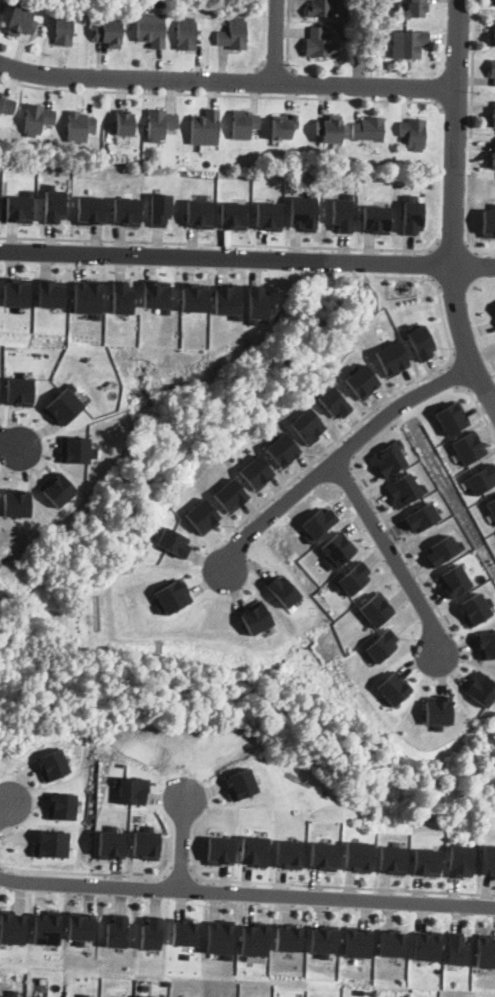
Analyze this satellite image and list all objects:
building: (493, 2)
building: (383, 5)
building: (317, 8)
building: (416, 9)
building: (77, 11)
building: (384, 14)
building: (21, 22)
building: (151, 29)
building: (63, 30)
building: (109, 34)
building: (186, 35)
building: (233, 35)
road: (288, 38)
building: (493, 41)
road: (275, 42)
building: (317, 44)
building: (408, 44)
building: (492, 71)
road: (226, 82)
road: (295, 85)
road: (222, 95)
building: (6, 106)
road: (458, 110)
building: (35, 119)
building: (491, 119)
building: (120, 123)
building: (157, 124)
building: (78, 125)
building: (241, 125)
building: (282, 127)
building: (203, 129)
building: (367, 129)
building: (327, 130)
building: (411, 133)
road: (472, 135)
building: (491, 159)
building: (54, 204)
road: (454, 207)
building: (19, 208)
building: (159, 209)
building: (90, 210)
building: (126, 211)
building: (303, 212)
building: (199, 213)
building: (342, 214)
building: (233, 215)
building: (268, 215)
building: (411, 215)
building: (375, 218)
building: (488, 221)
road: (221, 242)
road: (453, 244)
road: (247, 259)
road: (431, 263)
building: (16, 292)
building: (51, 292)
building: (156, 295)
building: (121, 296)
building: (193, 296)
building: (87, 297)
building: (227, 299)
building: (256, 303)
building: (494, 306)
building: (419, 340)
building: (391, 358)
road: (454, 376)
building: (360, 380)
building: (0, 385)
building: (20, 391)
road: (396, 394)
building: (333, 402)
building: (63, 404)
road: (478, 406)
building: (450, 417)
building: (307, 425)
road: (9, 440)
building: (468, 446)
building: (282, 448)
road: (345, 448)
building: (75, 449)
road: (339, 456)
building: (388, 458)
building: (255, 471)
building: (481, 478)
building: (57, 489)
building: (404, 489)
building: (230, 495)
building: (16, 502)
building: (491, 507)
building: (202, 515)
building: (421, 517)
building: (318, 523)
building: (173, 541)
road: (398, 542)
building: (442, 549)
building: (336, 550)
road: (391, 554)
building: (351, 578)
building: (454, 580)
building: (282, 590)
building: (172, 596)
building: (375, 608)
building: (475, 608)
building: (255, 617)
building: (486, 644)
building: (381, 645)
building: (393, 688)
building: (481, 688)
building: (437, 711)
building: (52, 764)
building: (240, 783)
building: (132, 789)
building: (62, 805)
road: (4, 812)
road: (183, 840)
building: (52, 843)
building: (111, 843)
building: (146, 843)
building: (254, 849)
building: (220, 850)
building: (288, 854)
building: (323, 855)
building: (358, 856)
building: (392, 859)
building: (460, 860)
building: (488, 860)
building: (427, 862)
road: (180, 872)
road: (87, 873)
road: (340, 887)
road: (247, 893)
building: (12, 927)
building: (81, 927)
building: (47, 928)
building: (116, 931)
building: (151, 932)
building: (184, 932)
building: (220, 937)
building: (288, 937)
building: (254, 939)
building: (324, 939)
building: (357, 941)
building: (393, 942)
building: (427, 945)
building: (457, 948)
building: (486, 950)
building: (10, 995)
building: (149, 996)

